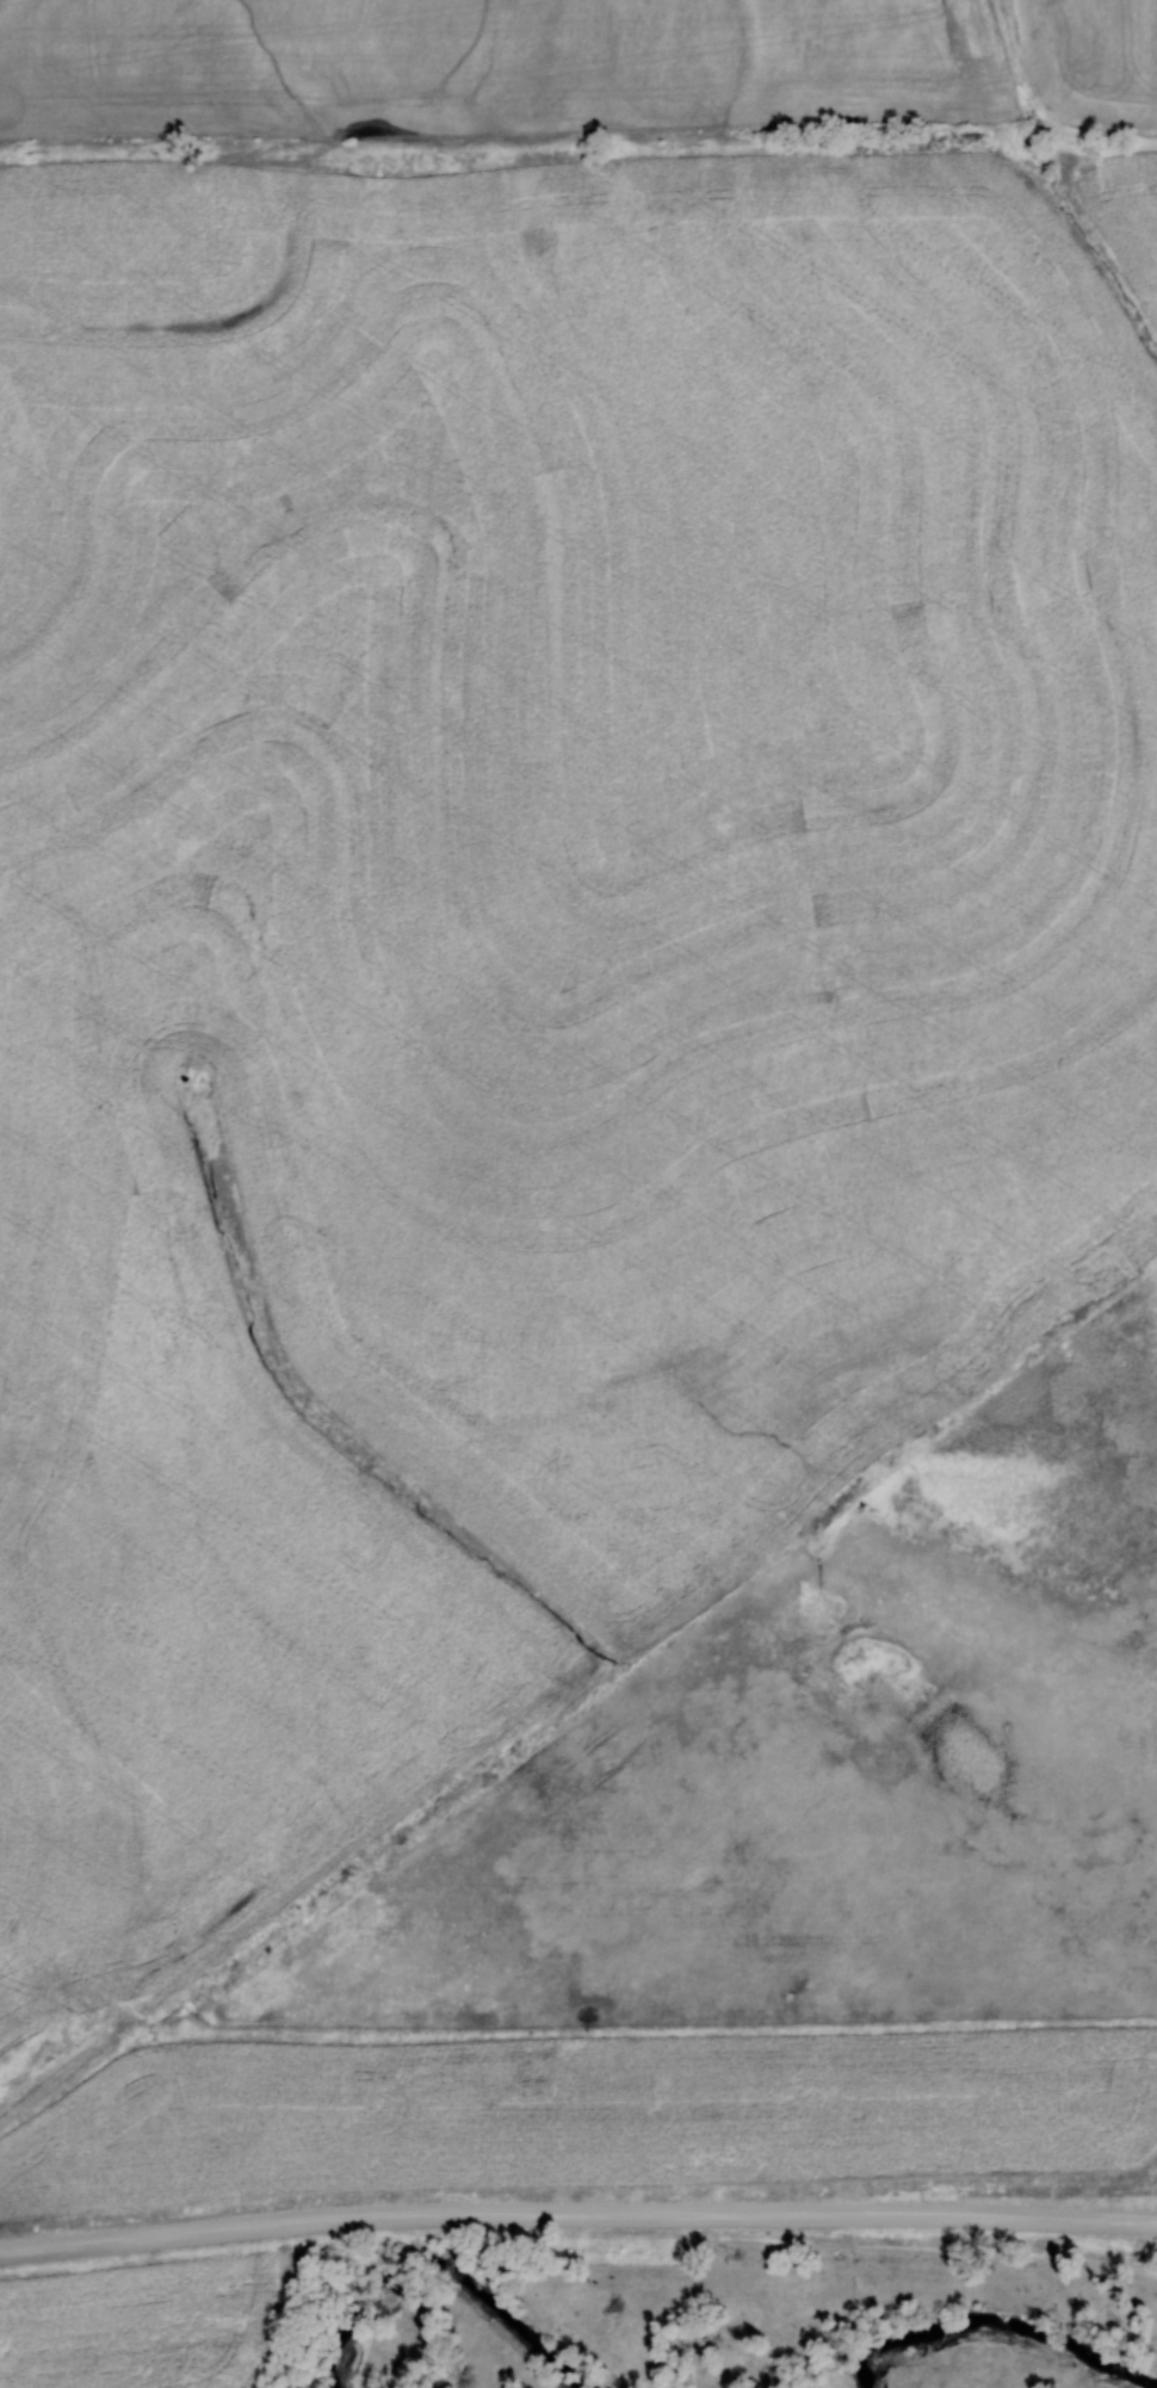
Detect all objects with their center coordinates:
road: (577, 2211)
river: (440, 2264)
river: (995, 2322)

